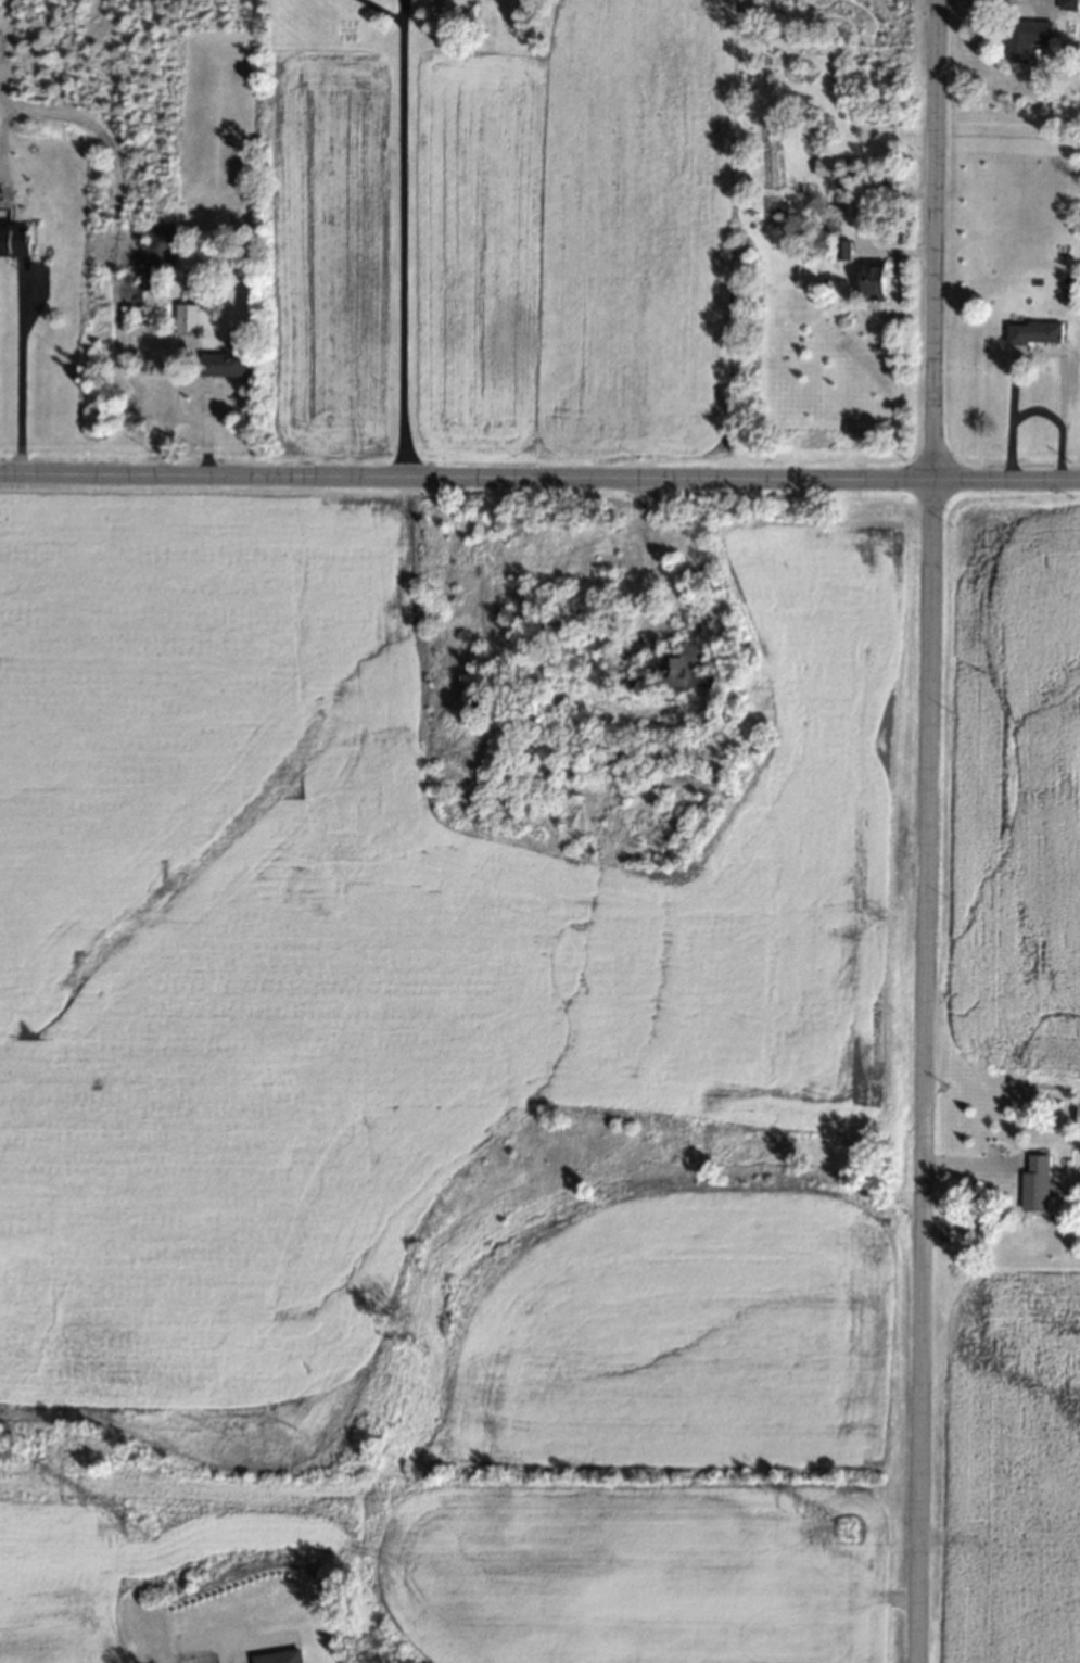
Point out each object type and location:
road: (1024, 2)
building: (1068, 4)
building: (1027, 38)
building: (829, 168)
road: (860, 229)
road: (403, 238)
building: (14, 241)
crop: (499, 243)
building: (843, 251)
building: (875, 282)
building: (187, 320)
building: (1035, 333)
building: (221, 365)
road: (20, 372)
road: (539, 477)
building: (681, 668)
crop: (1014, 789)
road: (926, 830)
crop: (433, 1117)
building: (1078, 1117)
building: (1035, 1184)
crop: (1011, 1471)
power tower: (138, 1526)
power tower: (847, 1533)
building: (282, 1658)

